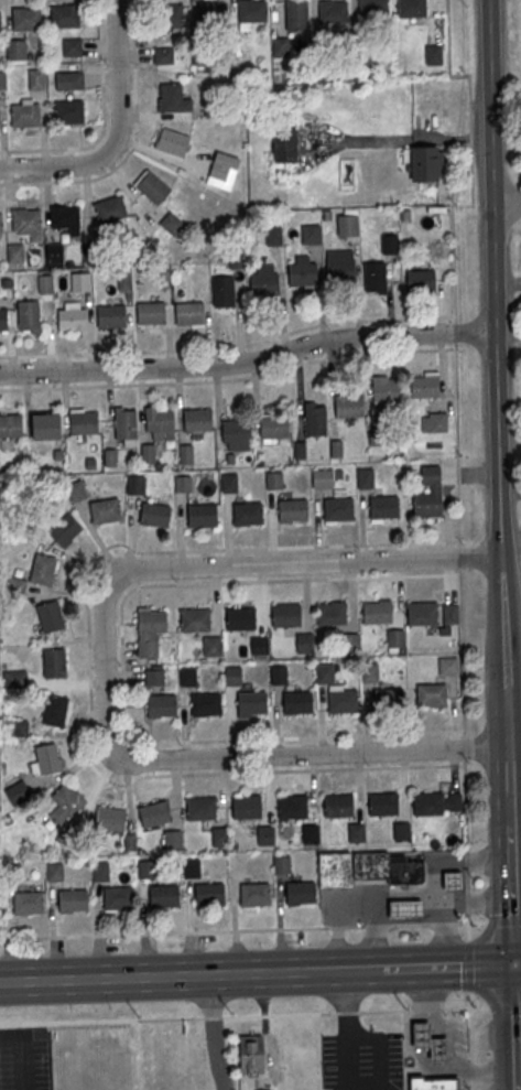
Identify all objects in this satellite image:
building: (412, 9)
building: (373, 10)
building: (333, 11)
building: (252, 12)
building: (213, 14)
building: (65, 15)
building: (296, 15)
building: (169, 17)
building: (26, 19)
building: (0, 23)
building: (72, 46)
building: (15, 48)
building: (281, 48)
building: (202, 55)
building: (163, 56)
building: (434, 56)
building: (322, 60)
building: (361, 61)
building: (36, 78)
building: (2, 79)
building: (68, 79)
building: (173, 97)
building: (67, 110)
building: (25, 114)
road: (104, 120)
road: (117, 132)
building: (172, 141)
road: (131, 145)
building: (284, 148)
road: (470, 157)
building: (426, 165)
building: (221, 172)
building: (152, 186)
road: (508, 203)
building: (110, 208)
building: (64, 215)
building: (26, 219)
building: (0, 222)
building: (171, 223)
building: (347, 226)
building: (311, 235)
building: (273, 236)
building: (389, 244)
building: (54, 251)
building: (15, 252)
building: (238, 261)
building: (340, 267)
building: (303, 276)
building: (376, 278)
building: (123, 280)
building: (82, 281)
building: (264, 281)
building: (6, 282)
building: (44, 283)
building: (421, 283)
building: (224, 292)
building: (150, 312)
building: (188, 312)
building: (28, 314)
building: (110, 315)
building: (3, 319)
building: (70, 319)
road: (337, 322)
road: (249, 360)
road: (497, 374)
road: (229, 380)
building: (424, 388)
building: (387, 389)
building: (349, 408)
building: (314, 418)
building: (198, 421)
building: (160, 422)
building: (438, 423)
building: (84, 424)
building: (124, 425)
building: (11, 427)
building: (47, 427)
building: (274, 428)
building: (236, 431)
building: (378, 436)
building: (336, 450)
building: (300, 451)
building: (148, 454)
building: (186, 455)
building: (366, 478)
building: (323, 479)
building: (274, 481)
building: (229, 483)
building: (183, 485)
building: (135, 486)
building: (76, 489)
building: (426, 504)
building: (383, 506)
building: (337, 508)
building: (292, 509)
building: (106, 511)
building: (247, 512)
building: (202, 514)
building: (154, 516)
building: (65, 530)
road: (287, 547)
road: (264, 565)
building: (43, 569)
building: (15, 585)
building: (376, 612)
building: (330, 613)
building: (421, 613)
building: (451, 613)
building: (285, 614)
building: (50, 615)
building: (240, 617)
building: (194, 618)
building: (150, 628)
building: (394, 637)
building: (349, 641)
building: (304, 643)
building: (259, 644)
building: (211, 645)
building: (54, 661)
road: (122, 663)
building: (448, 666)
building: (369, 671)
building: (324, 672)
building: (278, 673)
building: (187, 676)
building: (232, 676)
building: (154, 677)
building: (431, 694)
building: (389, 697)
road: (513, 699)
building: (341, 700)
building: (251, 702)
building: (296, 702)
building: (206, 703)
building: (161, 704)
building: (54, 710)
building: (17, 726)
road: (264, 756)
building: (46, 758)
building: (15, 787)
building: (65, 802)
building: (427, 802)
building: (338, 803)
building: (382, 803)
building: (246, 806)
building: (291, 806)
building: (200, 808)
building: (153, 813)
building: (110, 818)
road: (514, 821)
building: (401, 830)
building: (356, 831)
building: (310, 833)
building: (264, 835)
building: (219, 837)
building: (172, 838)
road: (508, 856)
building: (281, 864)
building: (369, 865)
building: (145, 867)
building: (191, 867)
building: (334, 870)
building: (54, 871)
building: (99, 871)
building: (404, 871)
building: (452, 879)
building: (300, 892)
building: (208, 894)
building: (254, 894)
building: (163, 895)
building: (117, 898)
building: (73, 899)
building: (28, 903)
building: (404, 908)
road: (493, 920)
road: (443, 922)
road: (19, 937)
road: (515, 964)
traffic signals: (511, 965)
road: (444, 968)
road: (341, 971)
road: (152, 976)
road: (512, 1027)
road: (213, 1033)
building: (428, 1040)
road: (454, 1040)
road: (347, 1048)
road: (22, 1053)
building: (250, 1054)
parking lot: (23, 1060)
road: (517, 1070)
building: (432, 1082)

